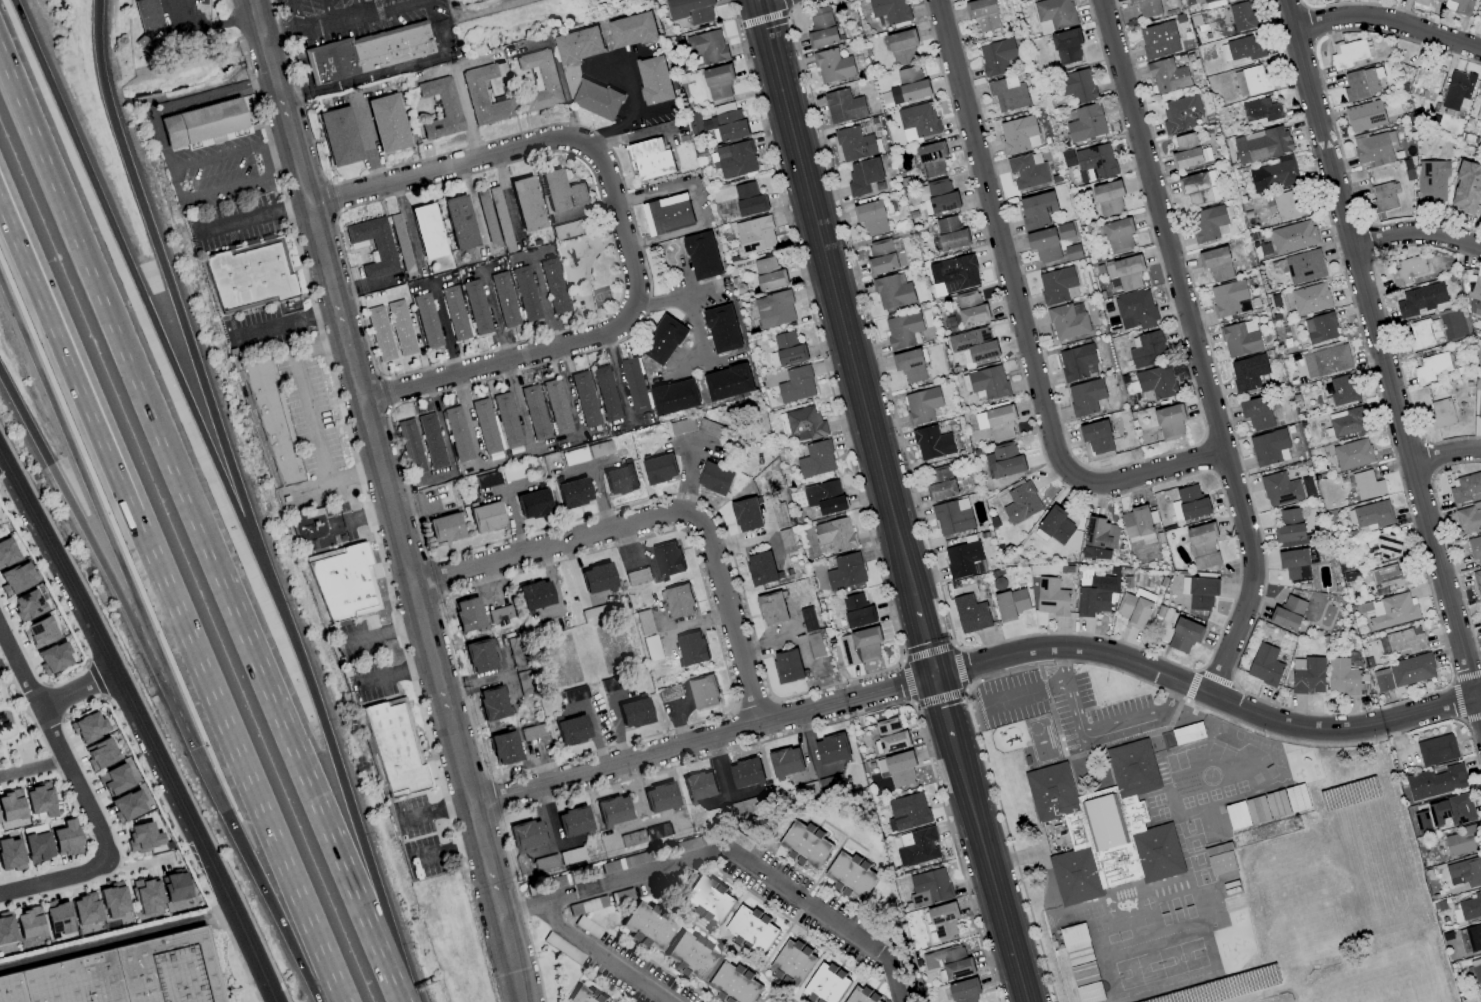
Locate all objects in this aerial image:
road: (764, 1)
building: (1437, 1)
building: (1208, 2)
building: (1420, 2)
building: (1459, 6)
building: (1147, 7)
building: (1480, 7)
road: (359, 8)
building: (691, 10)
building: (890, 10)
road: (330, 13)
building: (983, 14)
building: (148, 15)
building: (1054, 15)
road: (298, 17)
building: (1242, 17)
road: (1388, 22)
road: (342, 23)
road: (209, 26)
building: (821, 28)
building: (632, 30)
building: (1159, 40)
building: (578, 45)
building: (708, 46)
building: (1067, 46)
building: (902, 47)
building: (1242, 49)
building: (366, 52)
building: (1349, 54)
building: (996, 57)
building: (833, 66)
road: (390, 69)
building: (908, 74)
building: (1168, 76)
building: (539, 80)
building: (654, 80)
building: (718, 81)
building: (1251, 81)
building: (1426, 82)
building: (1360, 84)
building: (1076, 86)
building: (1457, 89)
building: (909, 91)
building: (1008, 94)
building: (484, 96)
building: (596, 100)
road: (184, 102)
building: (843, 106)
building: (1478, 106)
building: (440, 108)
building: (1261, 110)
road: (630, 111)
building: (1181, 114)
building: (1365, 116)
building: (919, 119)
building: (387, 123)
building: (1085, 123)
building: (720, 125)
building: (210, 126)
building: (1019, 134)
building: (909, 135)
building: (339, 136)
road: (276, 137)
building: (854, 144)
building: (1261, 145)
building: (1375, 148)
building: (1186, 152)
building: (1068, 158)
road: (199, 159)
building: (650, 159)
building: (736, 159)
building: (932, 159)
building: (1095, 163)
building: (1028, 170)
building: (1274, 175)
building: (863, 176)
building: (1432, 179)
road: (241, 182)
building: (1467, 187)
building: (1199, 188)
building: (561, 191)
building: (941, 196)
building: (1108, 198)
building: (1383, 198)
building: (749, 199)
building: (526, 204)
building: (1285, 206)
building: (1037, 210)
road: (255, 214)
building: (667, 214)
building: (1480, 214)
building: (871, 217)
building: (459, 222)
building: (1207, 223)
road: (617, 226)
building: (1065, 230)
building: (427, 231)
road: (1415, 231)
building: (950, 233)
building: (755, 235)
building: (1119, 235)
building: (1293, 237)
building: (373, 245)
building: (1044, 245)
building: (880, 247)
building: (1072, 252)
building: (702, 256)
building: (1219, 262)
building: (882, 264)
building: (1304, 266)
building: (1407, 270)
building: (1129, 272)
building: (253, 274)
building: (769, 274)
building: (953, 274)
road: (587, 278)
park: (597, 280)
building: (1058, 285)
building: (554, 286)
building: (1476, 289)
building: (893, 291)
building: (526, 293)
park: (602, 297)
building: (1227, 298)
building: (1309, 298)
building: (504, 299)
building: (1420, 300)
road: (544, 302)
road: (839, 306)
building: (477, 307)
building: (971, 308)
building: (1475, 308)
building: (774, 309)
building: (1135, 309)
road: (111, 311)
road: (689, 312)
building: (455, 313)
road: (1017, 317)
road: (493, 320)
building: (427, 321)
building: (1067, 322)
road: (288, 324)
road: (157, 325)
road: (184, 328)
building: (401, 328)
building: (1320, 328)
building: (722, 329)
road: (444, 330)
building: (902, 330)
building: (380, 333)
building: (1423, 334)
building: (1240, 339)
building: (663, 340)
building: (973, 344)
road: (1193, 348)
building: (789, 349)
building: (1147, 349)
road: (68, 352)
road: (1380, 356)
building: (1326, 361)
building: (1077, 363)
building: (910, 366)
building: (1430, 367)
building: (1248, 372)
building: (728, 382)
building: (988, 382)
building: (1157, 382)
building: (634, 385)
building: (796, 385)
building: (1342, 391)
building: (606, 393)
building: (674, 397)
building: (1085, 397)
building: (584, 398)
building: (1479, 404)
building: (922, 405)
building: (557, 407)
road: (517, 408)
building: (535, 413)
building: (1256, 413)
building: (1441, 414)
road: (312, 417)
road: (469, 420)
building: (507, 420)
building: (1170, 421)
building: (997, 422)
building: (1346, 422)
building: (276, 423)
building: (805, 424)
building: (485, 426)
building: (682, 426)
building: (458, 434)
building: (1097, 437)
building: (432, 441)
building: (932, 443)
building: (411, 446)
building: (1268, 447)
building: (1352, 454)
road: (448, 457)
road: (1446, 457)
building: (816, 459)
building: (1004, 461)
building: (659, 469)
building: (714, 478)
building: (619, 480)
building: (940, 483)
building: (1367, 485)
building: (1280, 489)
building: (1467, 489)
building: (572, 493)
building: (825, 497)
road: (391, 499)
building: (1191, 502)
building: (1021, 503)
building: (533, 504)
building: (746, 514)
building: (1373, 514)
building: (779, 516)
building: (486, 517)
building: (952, 517)
building: (1469, 518)
road: (657, 520)
building: (1136, 522)
building: (1055, 526)
building: (1289, 526)
building: (445, 528)
building: (835, 534)
building: (1099, 538)
building: (786, 541)
road: (115, 543)
building: (1386, 543)
building: (1203, 546)
building: (1475, 547)
building: (7, 552)
building: (667, 559)
building: (964, 560)
building: (1294, 564)
building: (760, 569)
building: (1480, 571)
building: (845, 572)
building: (1386, 574)
building: (637, 576)
building: (597, 578)
building: (15, 579)
building: (344, 581)
building: (1479, 589)
building: (1199, 592)
building: (535, 595)
building: (1096, 595)
building: (1051, 597)
building: (678, 601)
building: (1011, 604)
building: (26, 605)
building: (772, 608)
building: (1135, 608)
building: (857, 611)
building: (1395, 611)
building: (499, 613)
building: (1287, 613)
building: (468, 614)
building: (592, 614)
building: (970, 614)
building: (807, 619)
building: (39, 632)
building: (1184, 635)
building: (1405, 640)
road: (927, 644)
building: (815, 645)
building: (860, 646)
building: (691, 649)
building: (480, 656)
building: (53, 658)
road: (8, 662)
road: (977, 664)
building: (1265, 664)
building: (787, 666)
building: (1411, 669)
building: (1309, 676)
building: (1342, 677)
building: (1383, 679)
road: (169, 686)
road: (77, 691)
building: (703, 692)
building: (669, 693)
building: (575, 694)
road: (1026, 697)
building: (492, 703)
road: (945, 708)
building: (633, 713)
park: (22, 725)
building: (87, 727)
road: (144, 728)
building: (572, 730)
road: (617, 731)
building: (532, 732)
building: (1188, 733)
building: (891, 735)
road: (1095, 735)
road: (596, 736)
building: (504, 748)
building: (831, 749)
building: (1437, 749)
building: (397, 752)
building: (100, 753)
road: (241, 757)
building: (785, 762)
road: (32, 766)
building: (897, 768)
building: (746, 773)
building: (114, 780)
building: (1435, 782)
building: (699, 786)
road: (313, 790)
road: (84, 795)
building: (659, 797)
building: (1297, 798)
building: (40, 800)
building: (1276, 803)
building: (11, 806)
building: (127, 806)
building: (1257, 809)
building: (1457, 809)
road: (436, 810)
building: (612, 810)
building: (907, 812)
building: (1237, 815)
building: (573, 821)
road: (359, 824)
building: (1105, 826)
building: (657, 831)
road: (846, 833)
building: (526, 834)
building: (142, 837)
building: (66, 838)
building: (632, 838)
building: (1461, 841)
building: (803, 845)
building: (1217, 845)
building: (37, 847)
building: (917, 847)
road: (728, 850)
building: (10, 854)
road: (792, 861)
road: (711, 862)
building: (1221, 863)
road: (825, 866)
road: (990, 871)
building: (1465, 872)
building: (850, 877)
road: (813, 879)
road: (718, 881)
road: (652, 885)
building: (174, 886)
building: (929, 887)
road: (839, 892)
building: (144, 895)
building: (113, 899)
building: (706, 901)
building: (1470, 906)
road: (659, 907)
building: (85, 909)
road: (764, 912)
building: (57, 917)
road: (693, 917)
building: (943, 920)
building: (28, 923)
road: (799, 923)
building: (645, 925)
building: (6, 928)
building: (750, 931)
building: (1073, 935)
road: (703, 937)
building: (1474, 937)
road: (727, 938)
road: (805, 938)
road: (115, 940)
road: (634, 943)
building: (1079, 954)
road: (743, 955)
road: (606, 956)
building: (689, 956)
building: (791, 962)
building: (949, 962)
road: (839, 963)
road: (660, 965)
building: (1475, 971)
road: (677, 973)
building: (1084, 973)
road: (614, 975)
road: (889, 976)
building: (124, 977)
road: (778, 982)
building: (732, 985)
building: (824, 985)
road: (613, 987)
road: (777, 987)
road: (876, 987)
building: (964, 990)
road: (762, 991)
building: (579, 995)
building: (858, 997)
road: (711, 998)
road: (793, 1000)
road: (723, 1001)
building: (769, 1001)

